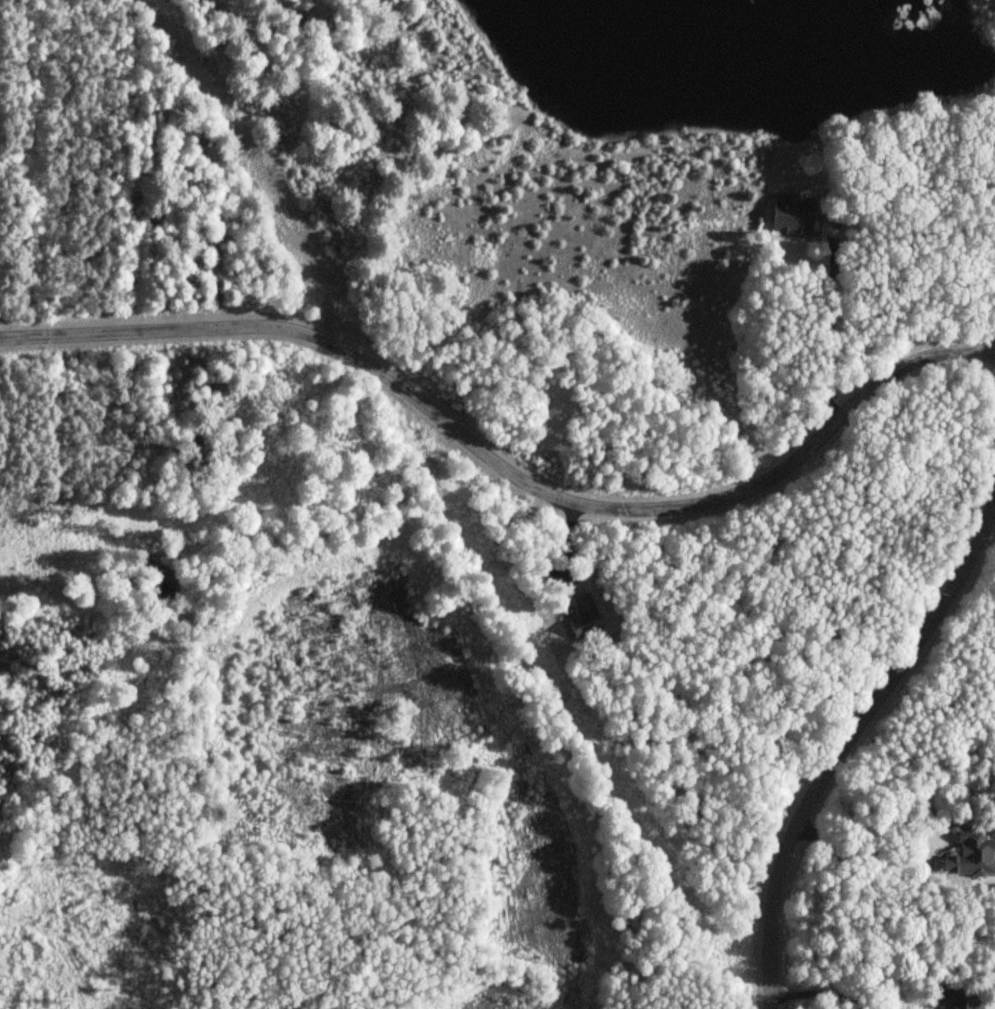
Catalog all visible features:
building: (797, 213)
road: (503, 468)
building: (578, 605)
road: (847, 745)
road: (151, 805)
building: (972, 838)
building: (960, 1002)

